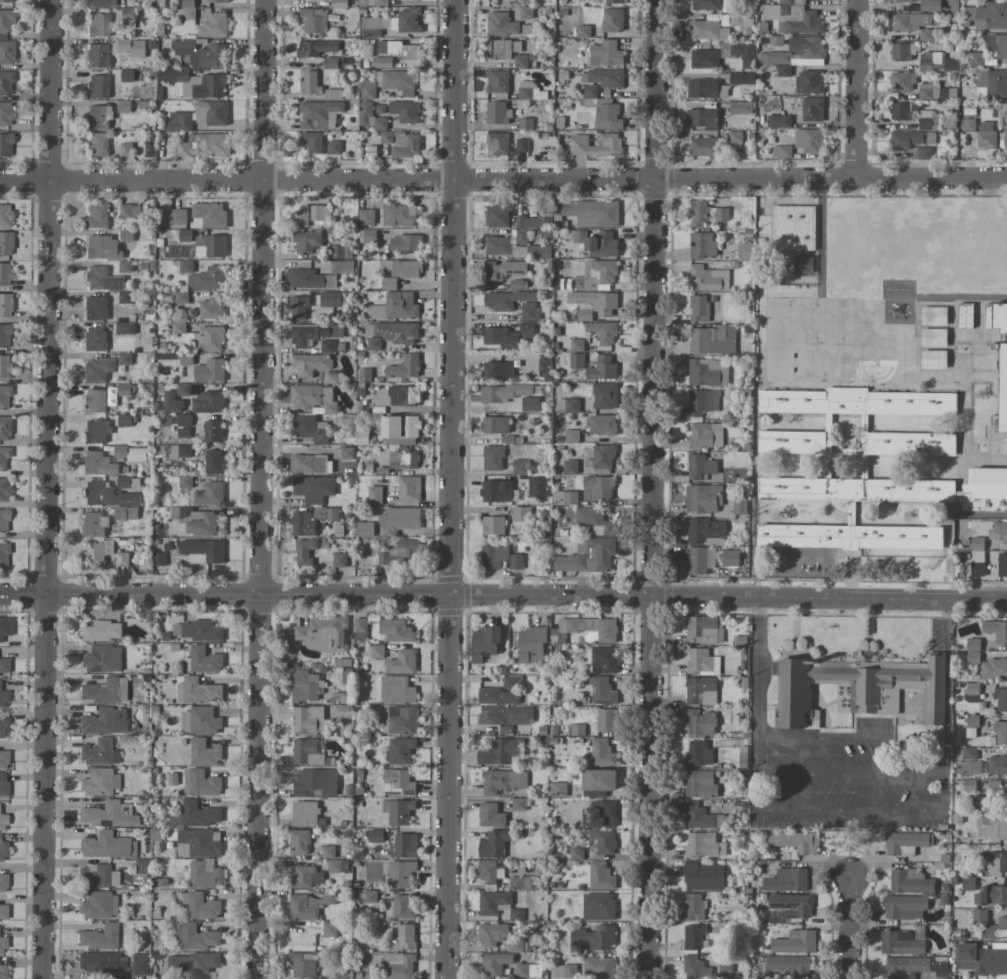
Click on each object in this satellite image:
building: (408, 0)
building: (914, 0)
building: (5, 1)
building: (217, 1)
building: (615, 1)
building: (785, 1)
building: (102, 2)
building: (339, 3)
building: (706, 4)
building: (930, 5)
building: (188, 9)
building: (526, 12)
building: (988, 15)
building: (792, 18)
building: (407, 19)
building: (612, 19)
building: (719, 19)
building: (5, 20)
building: (314, 20)
building: (739, 20)
building: (908, 21)
building: (501, 24)
building: (98, 25)
building: (213, 25)
building: (370, 26)
building: (707, 30)
building: (925, 34)
building: (777, 40)
building: (997, 45)
building: (133, 47)
building: (316, 47)
building: (398, 49)
building: (501, 49)
building: (806, 50)
building: (902, 51)
building: (6, 52)
building: (201, 53)
building: (605, 53)
building: (742, 53)
building: (96, 56)
building: (773, 57)
building: (704, 58)
building: (977, 58)
building: (931, 60)
building: (520, 61)
building: (330, 62)
building: (382, 62)
building: (606, 77)
building: (739, 78)
building: (399, 81)
building: (497, 81)
building: (809, 81)
building: (902, 81)
building: (310, 82)
building: (5, 83)
building: (195, 83)
building: (992, 83)
building: (97, 86)
building: (705, 88)
road: (854, 88)
building: (368, 89)
building: (529, 91)
building: (590, 91)
building: (936, 92)
building: (333, 94)
building: (741, 107)
building: (812, 109)
building: (406, 111)
building: (497, 112)
building: (5, 113)
building: (366, 113)
building: (319, 114)
building: (915, 114)
building: (98, 116)
building: (199, 116)
building: (608, 116)
building: (702, 118)
building: (949, 119)
building: (1004, 120)
building: (779, 121)
building: (380, 123)
building: (969, 124)
building: (986, 135)
building: (735, 136)
building: (610, 139)
building: (911, 139)
building: (808, 140)
building: (312, 141)
building: (403, 143)
building: (497, 143)
building: (97, 144)
building: (204, 144)
building: (5, 145)
building: (522, 145)
building: (704, 146)
building: (334, 147)
building: (783, 151)
building: (924, 153)
road: (503, 178)
building: (130, 211)
building: (591, 212)
building: (319, 213)
building: (498, 213)
building: (705, 213)
building: (210, 214)
building: (399, 214)
building: (4, 216)
building: (96, 216)
building: (178, 216)
building: (366, 216)
building: (301, 217)
building: (534, 220)
building: (793, 228)
building: (368, 235)
building: (521, 236)
building: (306, 241)
building: (597, 242)
building: (5, 243)
building: (406, 243)
building: (497, 245)
building: (703, 245)
building: (210, 246)
building: (102, 247)
building: (341, 251)
building: (538, 251)
building: (745, 251)
building: (125, 266)
building: (186, 266)
building: (342, 266)
building: (406, 269)
building: (504, 269)
building: (4, 274)
building: (208, 278)
building: (102, 279)
building: (309, 279)
building: (708, 279)
building: (516, 284)
building: (181, 296)
building: (125, 297)
building: (330, 299)
building: (507, 299)
building: (5, 304)
building: (593, 304)
building: (395, 306)
building: (95, 308)
building: (211, 308)
building: (299, 308)
building: (698, 308)
building: (529, 310)
building: (934, 315)
building: (965, 315)
building: (996, 316)
building: (124, 327)
building: (527, 330)
building: (393, 332)
building: (603, 332)
building: (309, 334)
building: (4, 335)
building: (500, 337)
building: (934, 337)
building: (94, 338)
building: (209, 338)
building: (713, 340)
building: (373, 343)
building: (577, 344)
building: (326, 346)
building: (124, 358)
building: (934, 359)
building: (576, 360)
building: (311, 364)
building: (544, 365)
building: (4, 366)
building: (404, 367)
building: (98, 368)
building: (602, 368)
building: (497, 370)
building: (210, 371)
building: (708, 371)
building: (365, 375)
building: (1003, 388)
building: (123, 389)
building: (183, 389)
building: (503, 393)
building: (404, 395)
building: (605, 395)
building: (4, 397)
building: (312, 398)
building: (94, 400)
building: (172, 402)
building: (208, 402)
building: (702, 402)
building: (530, 403)
building: (568, 405)
building: (828, 419)
building: (124, 420)
building: (495, 424)
building: (602, 424)
building: (183, 425)
building: (4, 427)
building: (311, 428)
building: (96, 430)
building: (213, 430)
building: (401, 430)
building: (706, 435)
building: (362, 436)
building: (571, 436)
building: (792, 442)
building: (177, 451)
building: (130, 453)
building: (347, 453)
building: (3, 456)
building: (603, 456)
building: (493, 457)
building: (404, 458)
building: (214, 462)
building: (97, 463)
building: (308, 463)
building: (520, 467)
building: (570, 467)
building: (700, 467)
building: (124, 481)
building: (185, 481)
building: (538, 487)
building: (598, 487)
building: (313, 488)
building: (409, 488)
building: (3, 489)
road: (46, 489)
road: (264, 489)
road: (451, 489)
road: (655, 489)
building: (856, 489)
building: (984, 489)
building: (496, 491)
building: (210, 494)
building: (375, 494)
building: (107, 495)
building: (564, 497)
building: (703, 498)
building: (182, 511)
building: (126, 512)
building: (325, 513)
building: (521, 513)
building: (400, 517)
building: (3, 520)
building: (595, 520)
building: (94, 524)
building: (207, 524)
building: (302, 524)
building: (493, 525)
building: (364, 529)
building: (705, 530)
building: (999, 530)
building: (849, 536)
building: (203, 551)
building: (304, 551)
building: (401, 552)
building: (96, 553)
building: (3, 555)
building: (493, 556)
building: (588, 556)
building: (122, 558)
building: (730, 558)
building: (159, 559)
building: (339, 560)
building: (699, 560)
building: (977, 560)
building: (516, 561)
building: (1002, 564)
road: (327, 598)
road: (707, 598)
road: (853, 599)
road: (977, 600)
building: (360, 624)
building: (5, 627)
building: (591, 627)
building: (701, 627)
building: (196, 630)
building: (396, 630)
building: (996, 630)
building: (101, 631)
building: (324, 633)
building: (485, 642)
building: (973, 644)
building: (531, 645)
building: (377, 651)
building: (102, 659)
building: (202, 660)
building: (603, 660)
building: (402, 662)
building: (702, 662)
building: (4, 667)
road: (758, 668)
building: (994, 668)
building: (512, 682)
building: (305, 685)
road: (947, 686)
building: (860, 688)
building: (397, 689)
building: (106, 690)
building: (198, 691)
building: (602, 691)
building: (701, 691)
building: (972, 692)
building: (498, 696)
building: (3, 698)
building: (1001, 699)
building: (506, 715)
building: (308, 719)
building: (400, 719)
building: (606, 720)
building: (972, 720)
building: (104, 721)
building: (200, 721)
building: (700, 722)
building: (4, 728)
building: (1000, 732)
road: (837, 739)
building: (400, 750)
building: (500, 751)
building: (98, 752)
building: (204, 752)
building: (306, 752)
building: (602, 752)
building: (967, 752)
building: (699, 753)
building: (3, 759)
building: (997, 764)
road: (820, 772)
road: (913, 772)
road: (758, 773)
building: (599, 779)
building: (502, 781)
building: (98, 782)
building: (316, 782)
building: (398, 782)
building: (201, 783)
building: (3, 784)
building: (700, 784)
building: (969, 785)
building: (557, 789)
building: (981, 802)
building: (518, 804)
road: (865, 810)
building: (396, 812)
building: (305, 813)
building: (107, 814)
building: (599, 814)
building: (194, 815)
building: (490, 815)
building: (701, 817)
building: (2, 822)
building: (992, 826)
building: (375, 835)
building: (603, 841)
building: (796, 841)
building: (299, 842)
building: (906, 842)
building: (199, 843)
building: (494, 844)
building: (704, 845)
building: (106, 846)
building: (403, 846)
building: (3, 851)
building: (328, 851)
building: (576, 852)
building: (998, 862)
building: (337, 866)
building: (489, 872)
building: (401, 873)
building: (205, 874)
building: (96, 876)
building: (305, 876)
building: (600, 876)
building: (704, 876)
building: (786, 880)
building: (910, 881)
building: (2, 883)
building: (968, 883)
building: (519, 884)
building: (991, 894)
building: (370, 896)
building: (328, 897)
building: (493, 902)
building: (98, 905)
building: (199, 905)
building: (404, 906)
building: (598, 906)
building: (693, 906)
building: (304, 907)
building: (789, 907)
building: (905, 907)
building: (3, 913)
building: (516, 914)
building: (979, 916)
road: (849, 927)
building: (329, 929)
building: (995, 929)
building: (491, 934)
building: (406, 936)
building: (693, 936)
building: (98, 937)
building: (194, 937)
building: (593, 938)
building: (795, 942)
building: (901, 943)
building: (2, 945)
building: (516, 946)
building: (982, 958)
building: (101, 962)
building: (193, 962)
building: (495, 963)
building: (138, 964)
building: (302, 965)
building: (790, 965)
building: (400, 966)
building: (913, 966)
building: (599, 968)
building: (695, 968)
building: (528, 970)
building: (2, 971)
building: (562, 971)

